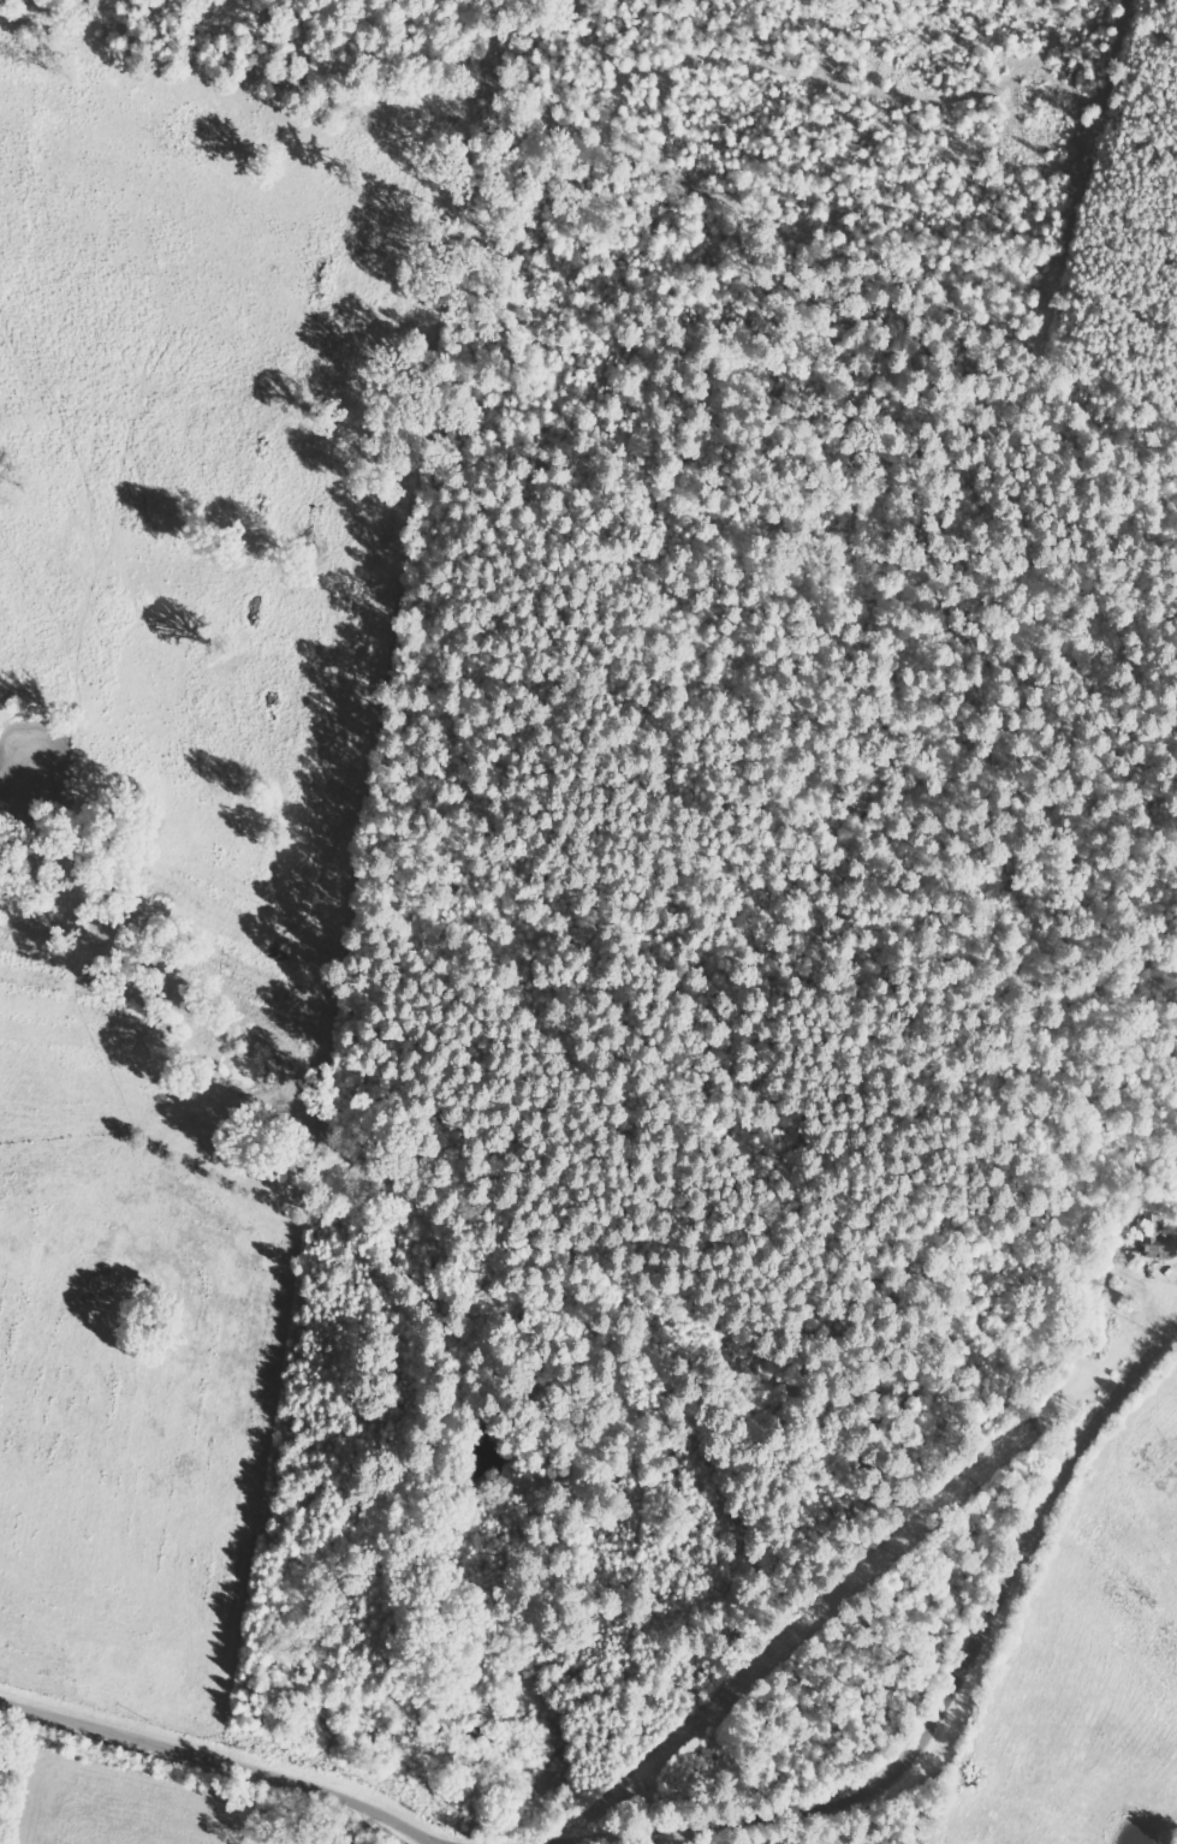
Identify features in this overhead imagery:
road: (938, 1718)
road: (174, 1773)

